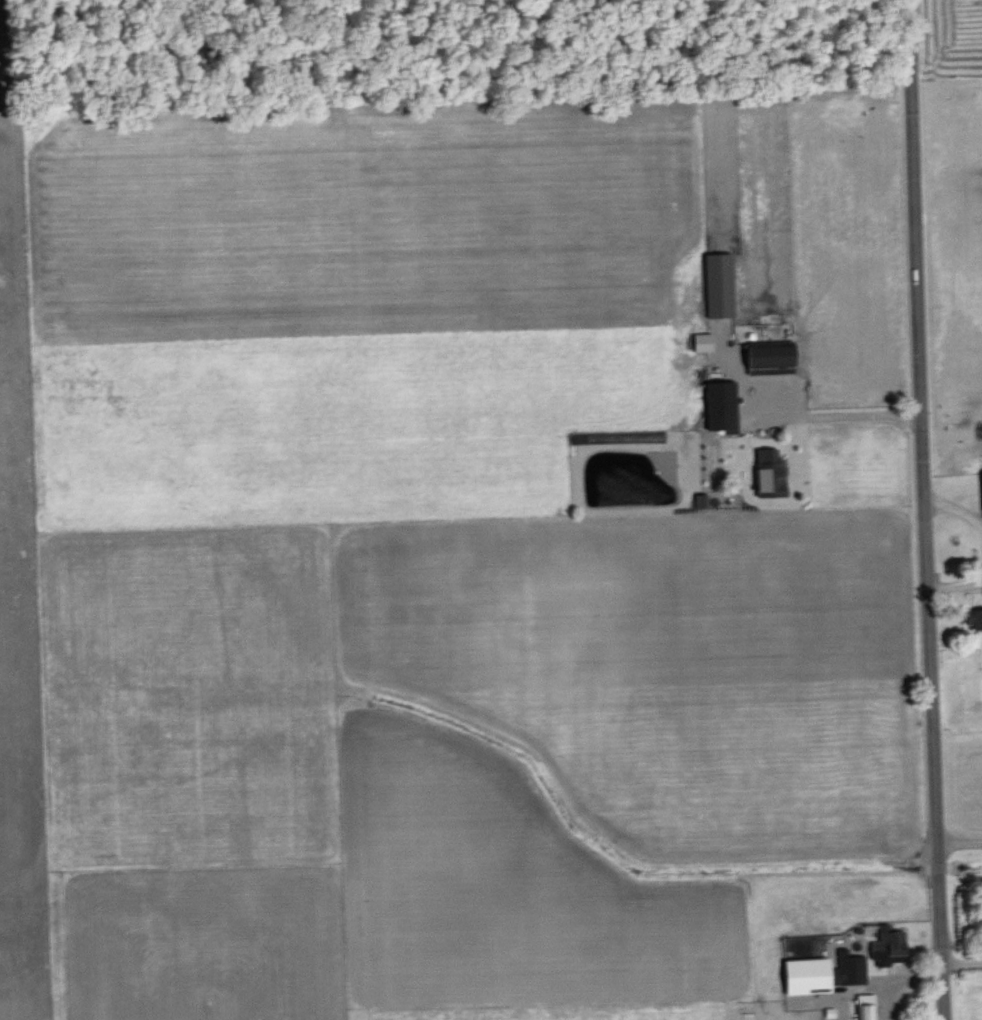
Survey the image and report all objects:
building: (719, 284)
building: (701, 341)
building: (769, 356)
building: (720, 406)
road: (810, 418)
building: (768, 473)
building: (700, 499)
road: (924, 509)
building: (973, 619)
road: (958, 843)
building: (887, 944)
building: (848, 966)
building: (806, 974)
road: (895, 979)
building: (864, 1006)

